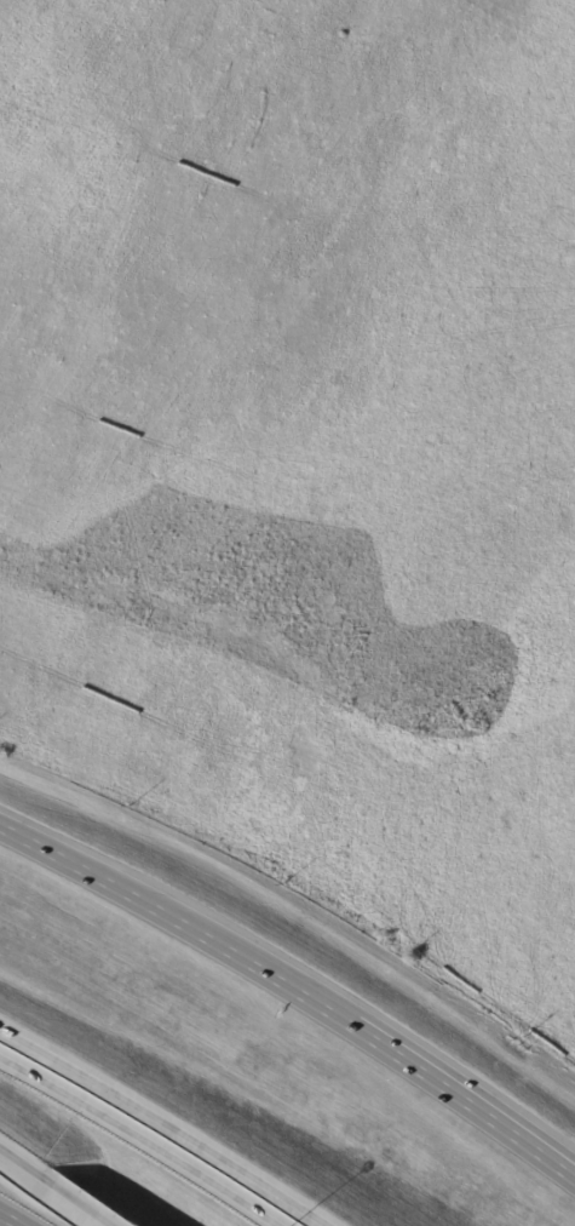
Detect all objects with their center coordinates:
road: (177, 926)
road: (462, 1105)
road: (166, 1123)
road: (140, 1138)
road: (22, 1159)
road: (81, 1201)
road: (15, 1218)

